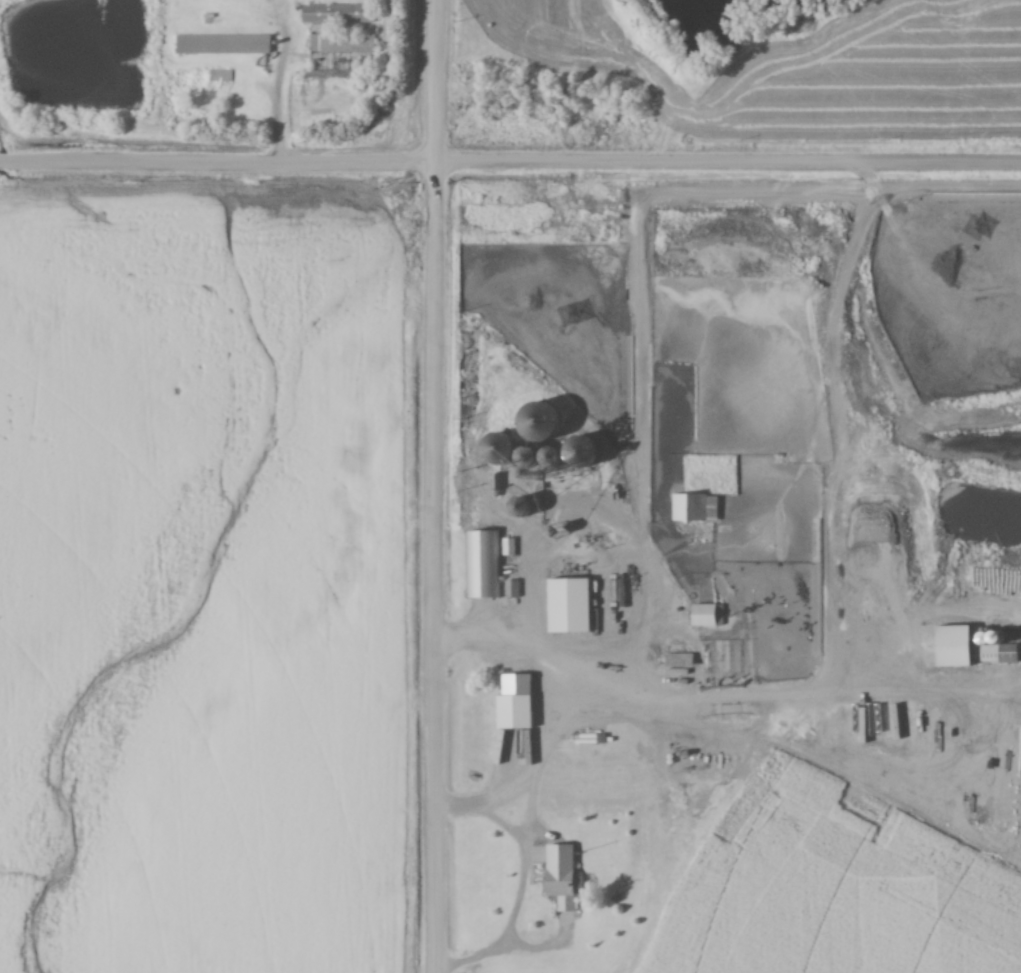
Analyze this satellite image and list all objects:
building: (327, 29)
building: (224, 45)
road: (510, 163)
building: (540, 422)
building: (501, 449)
building: (582, 452)
building: (529, 457)
building: (553, 458)
building: (514, 482)
road: (432, 486)
building: (522, 507)
building: (696, 509)
building: (624, 525)
building: (559, 526)
building: (510, 548)
building: (484, 565)
building: (604, 594)
building: (571, 606)
building: (708, 615)
building: (999, 650)
building: (680, 670)
building: (517, 703)
building: (562, 877)

